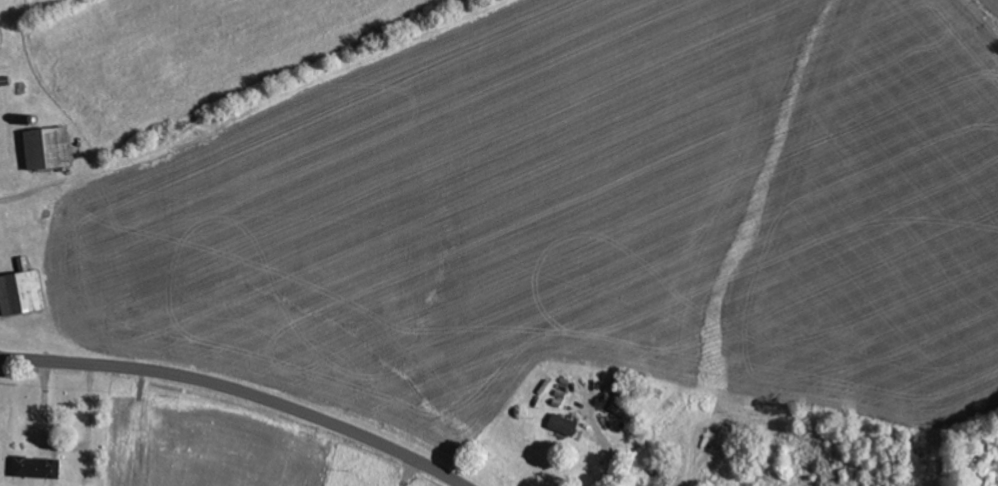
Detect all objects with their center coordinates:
building: (1, 35)
building: (49, 146)
building: (22, 291)
road: (239, 391)
building: (563, 423)
building: (37, 466)

